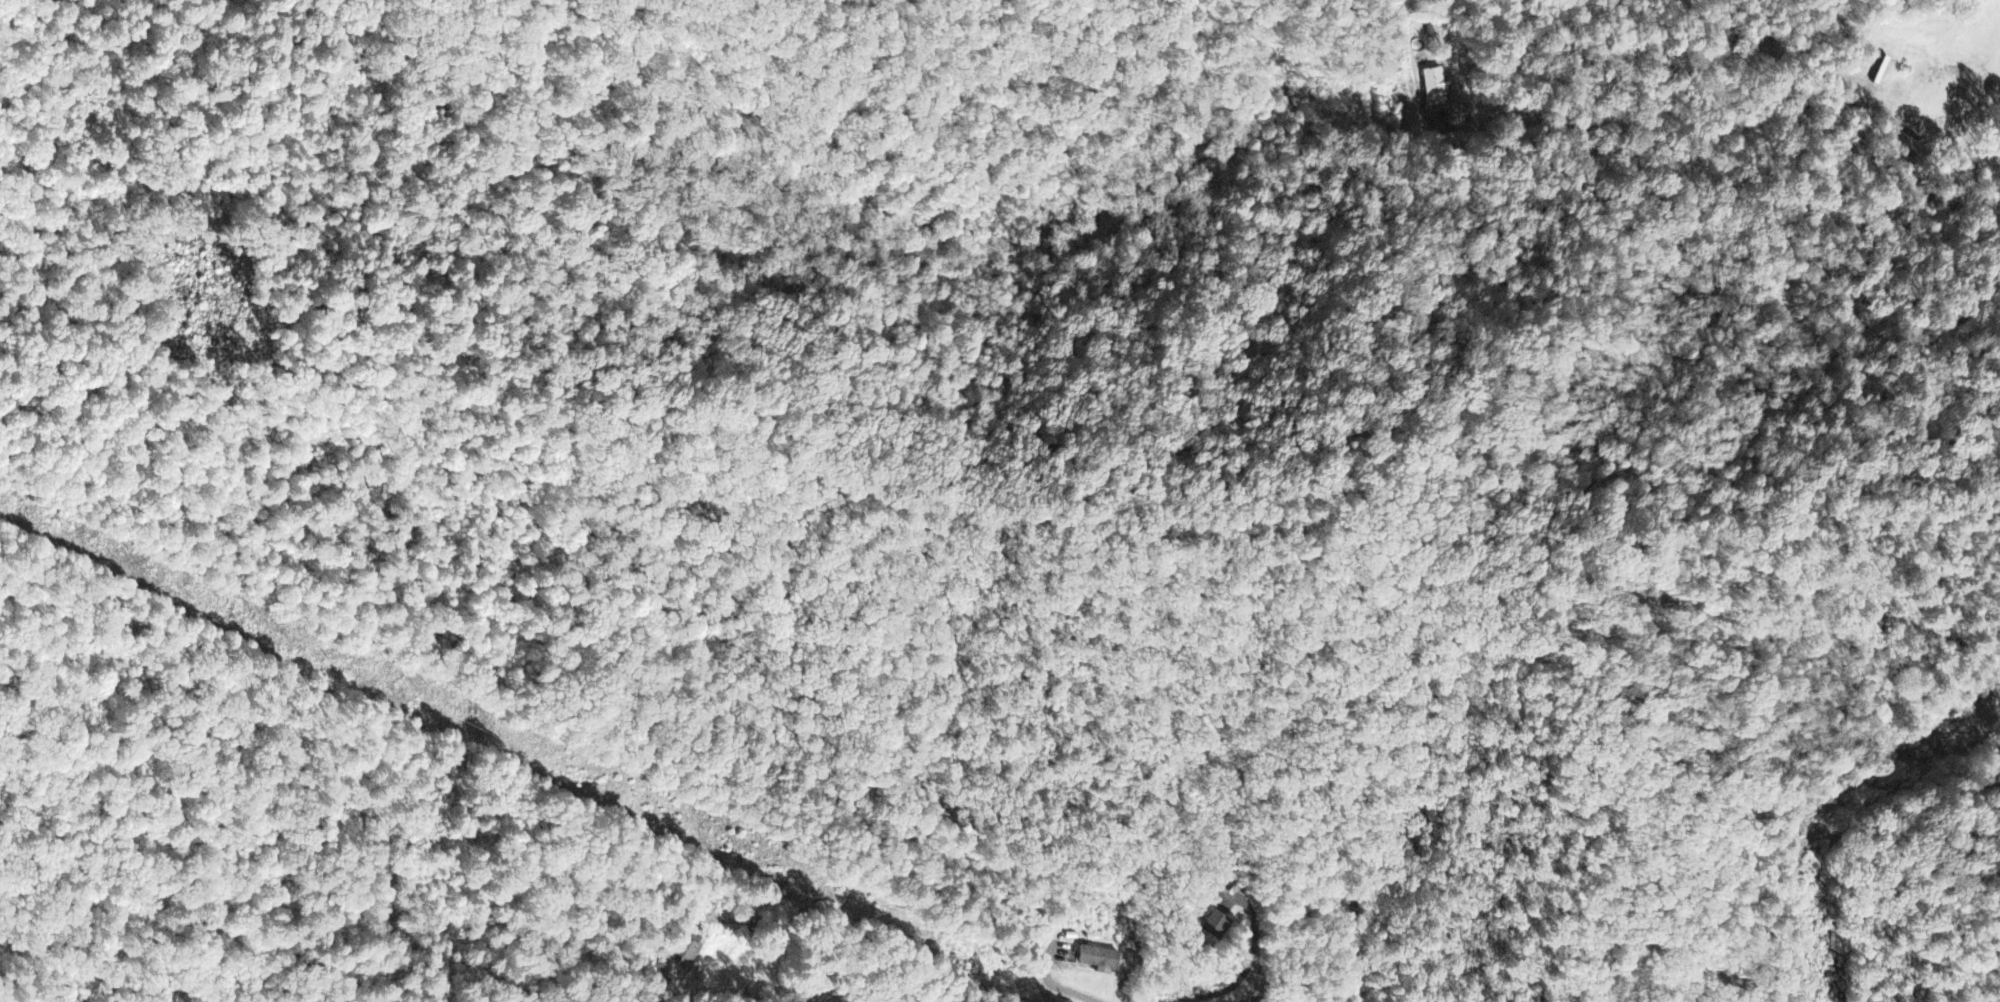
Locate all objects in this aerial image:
building: (1433, 88)
building: (1216, 927)
building: (1095, 956)

